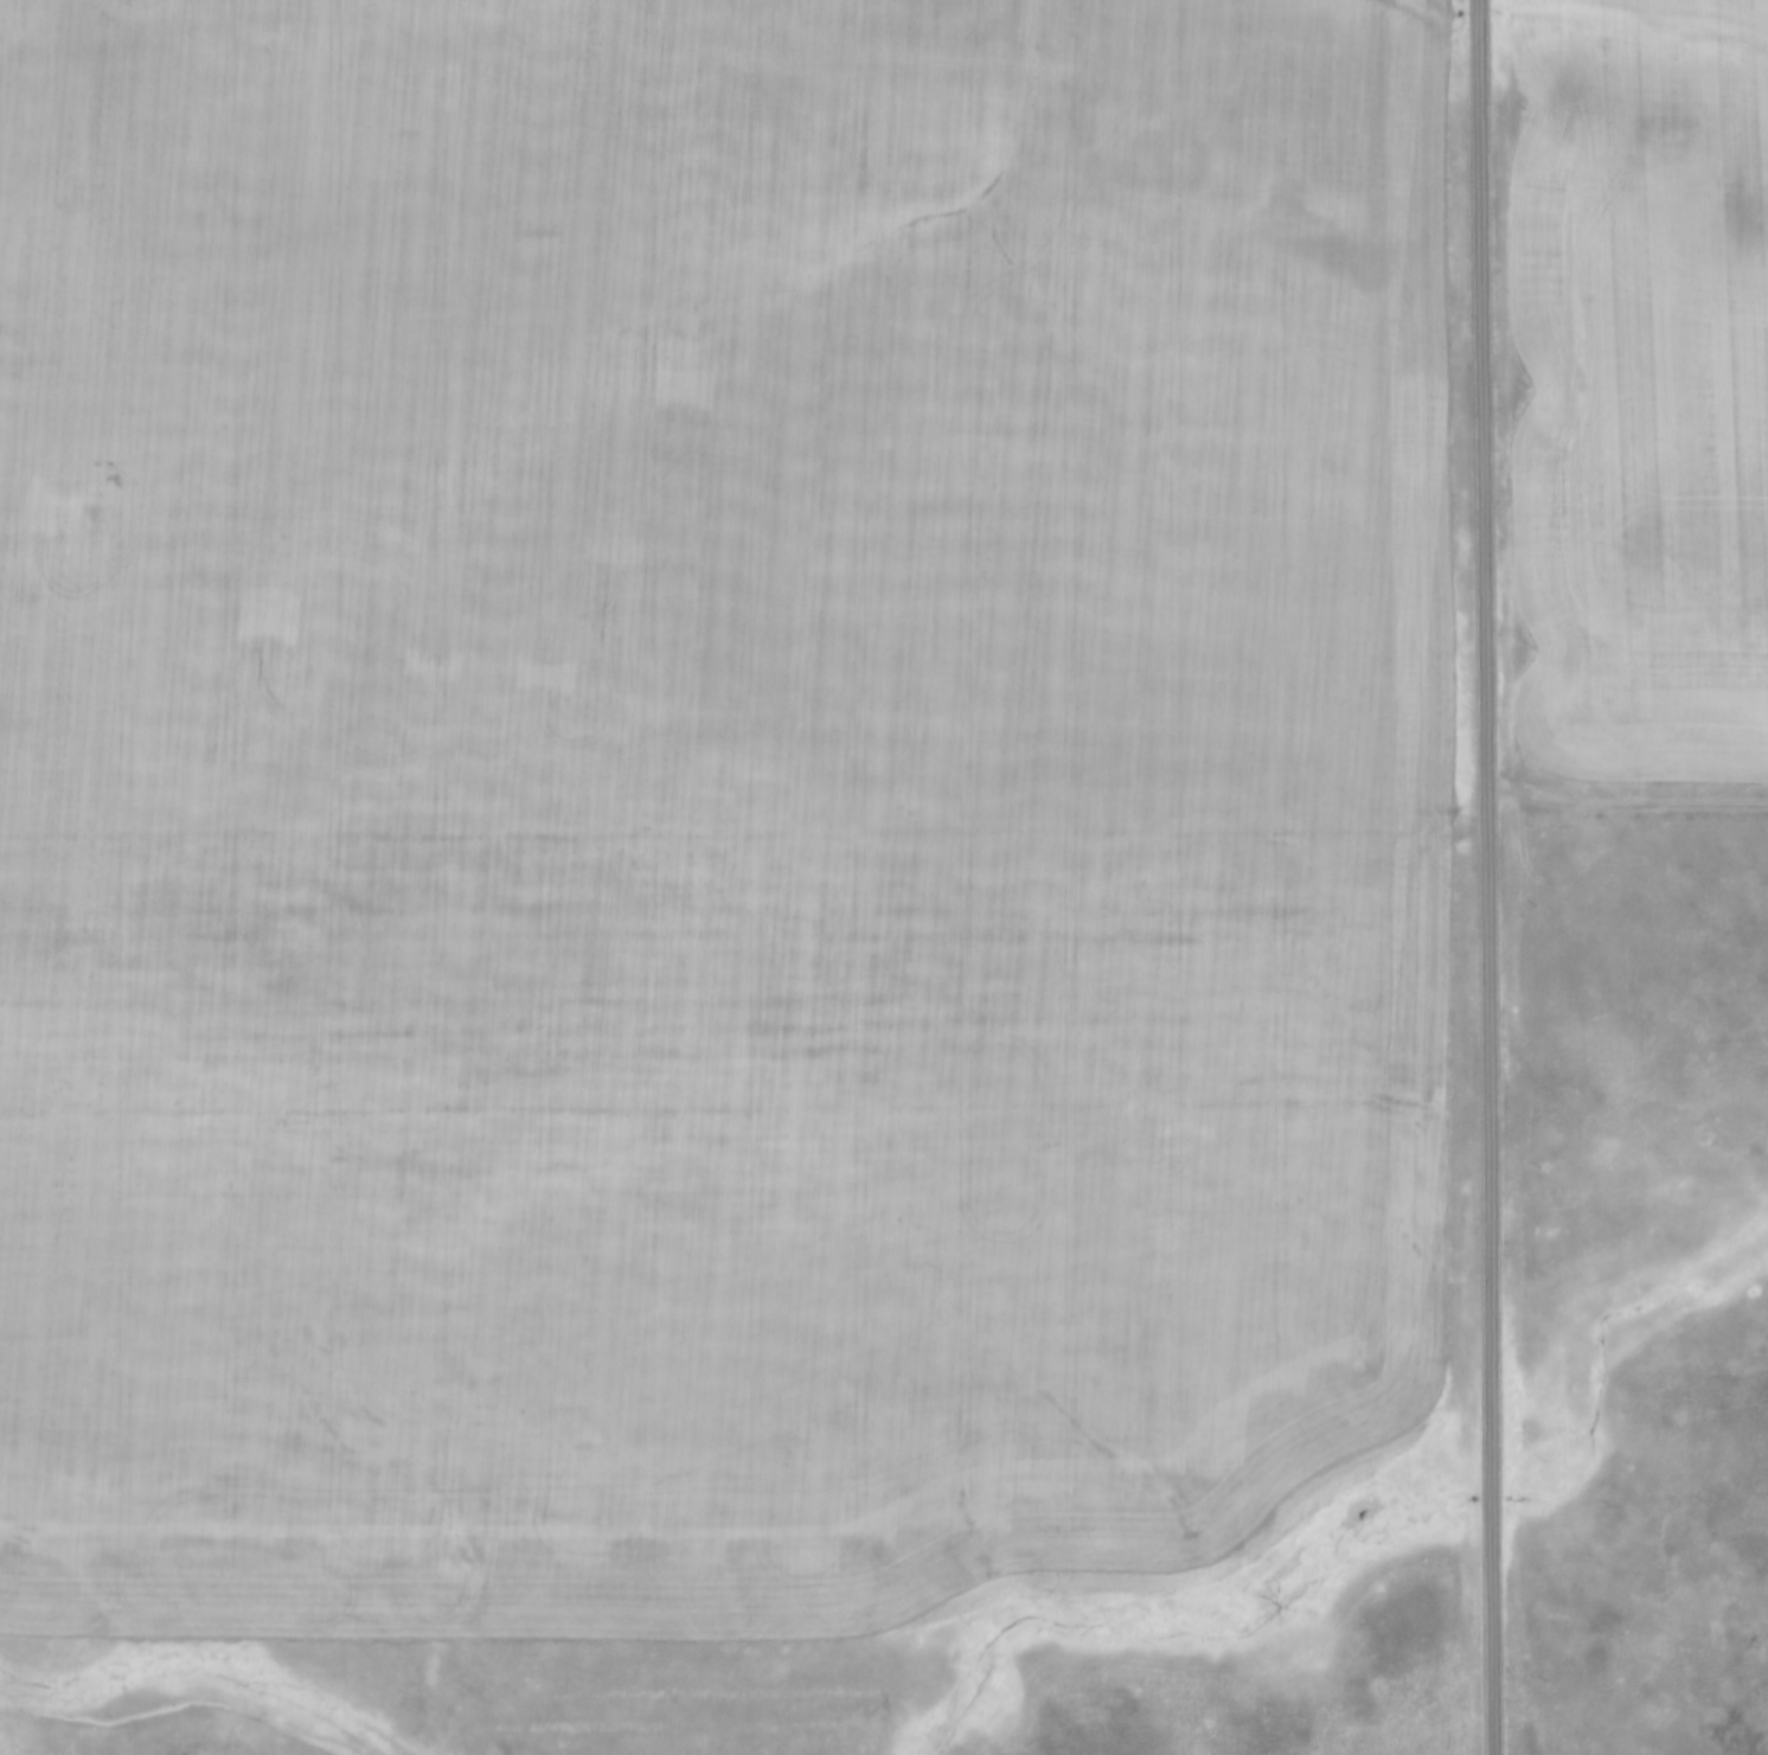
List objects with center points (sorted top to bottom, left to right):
road: (1623, 814)
road: (1491, 877)

